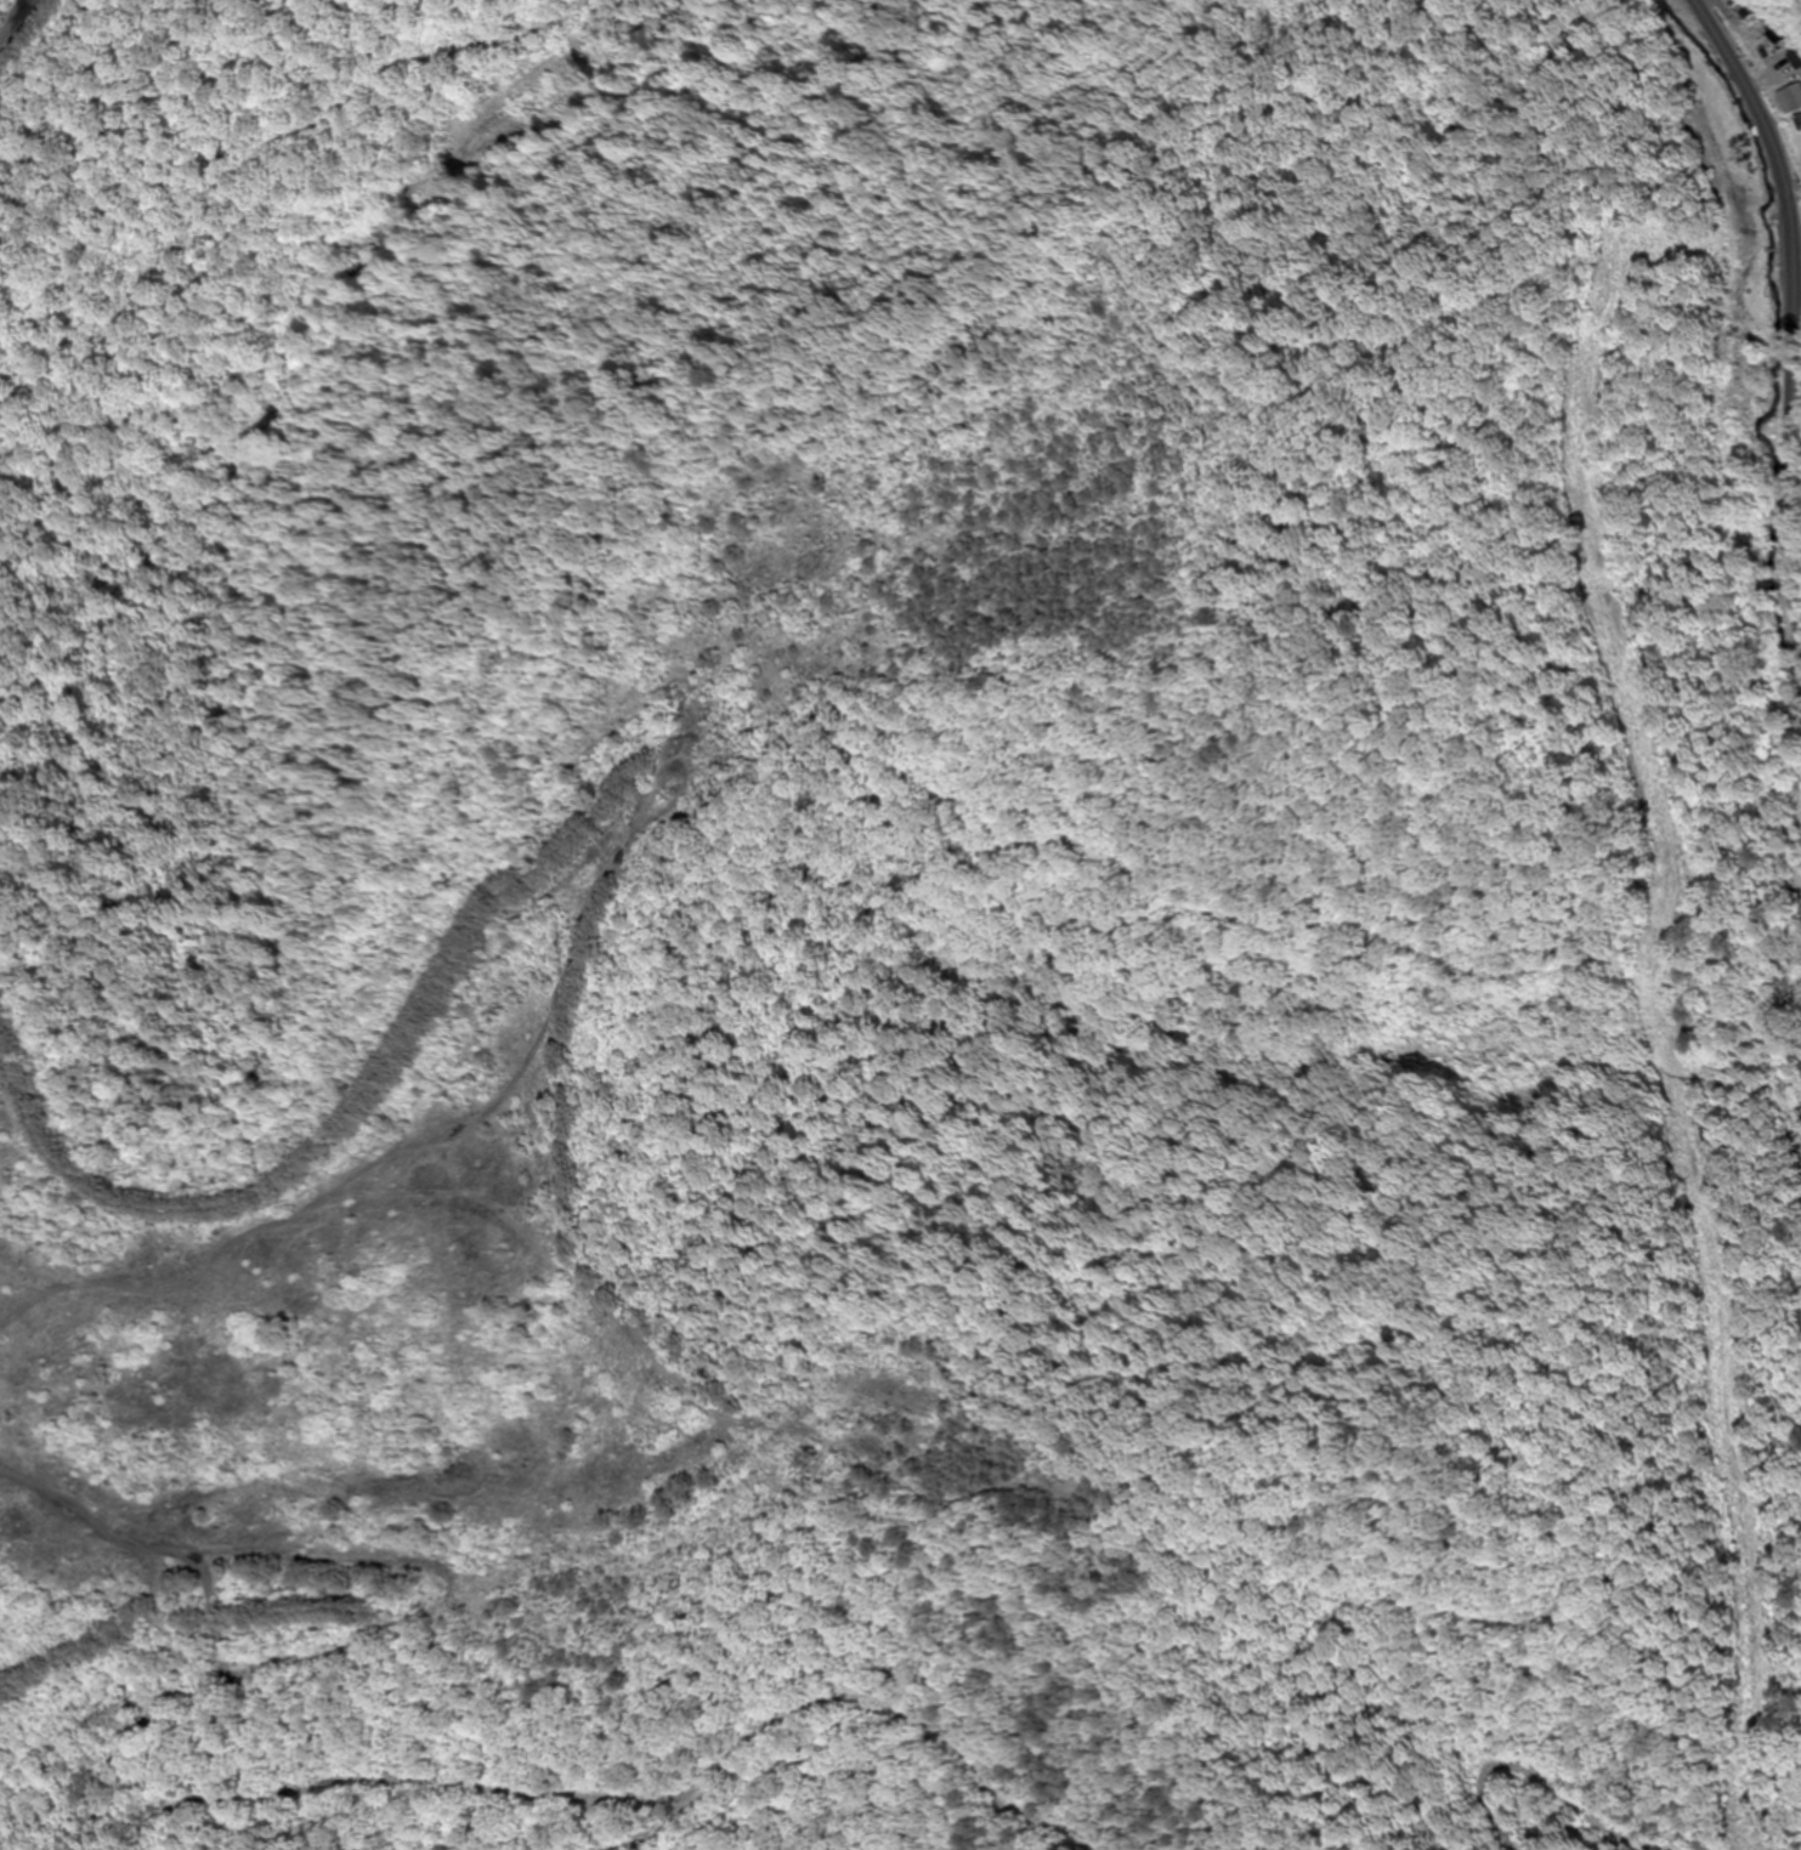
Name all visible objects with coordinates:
building: (1792, 101)
road: (1790, 210)
road: (67, 936)

